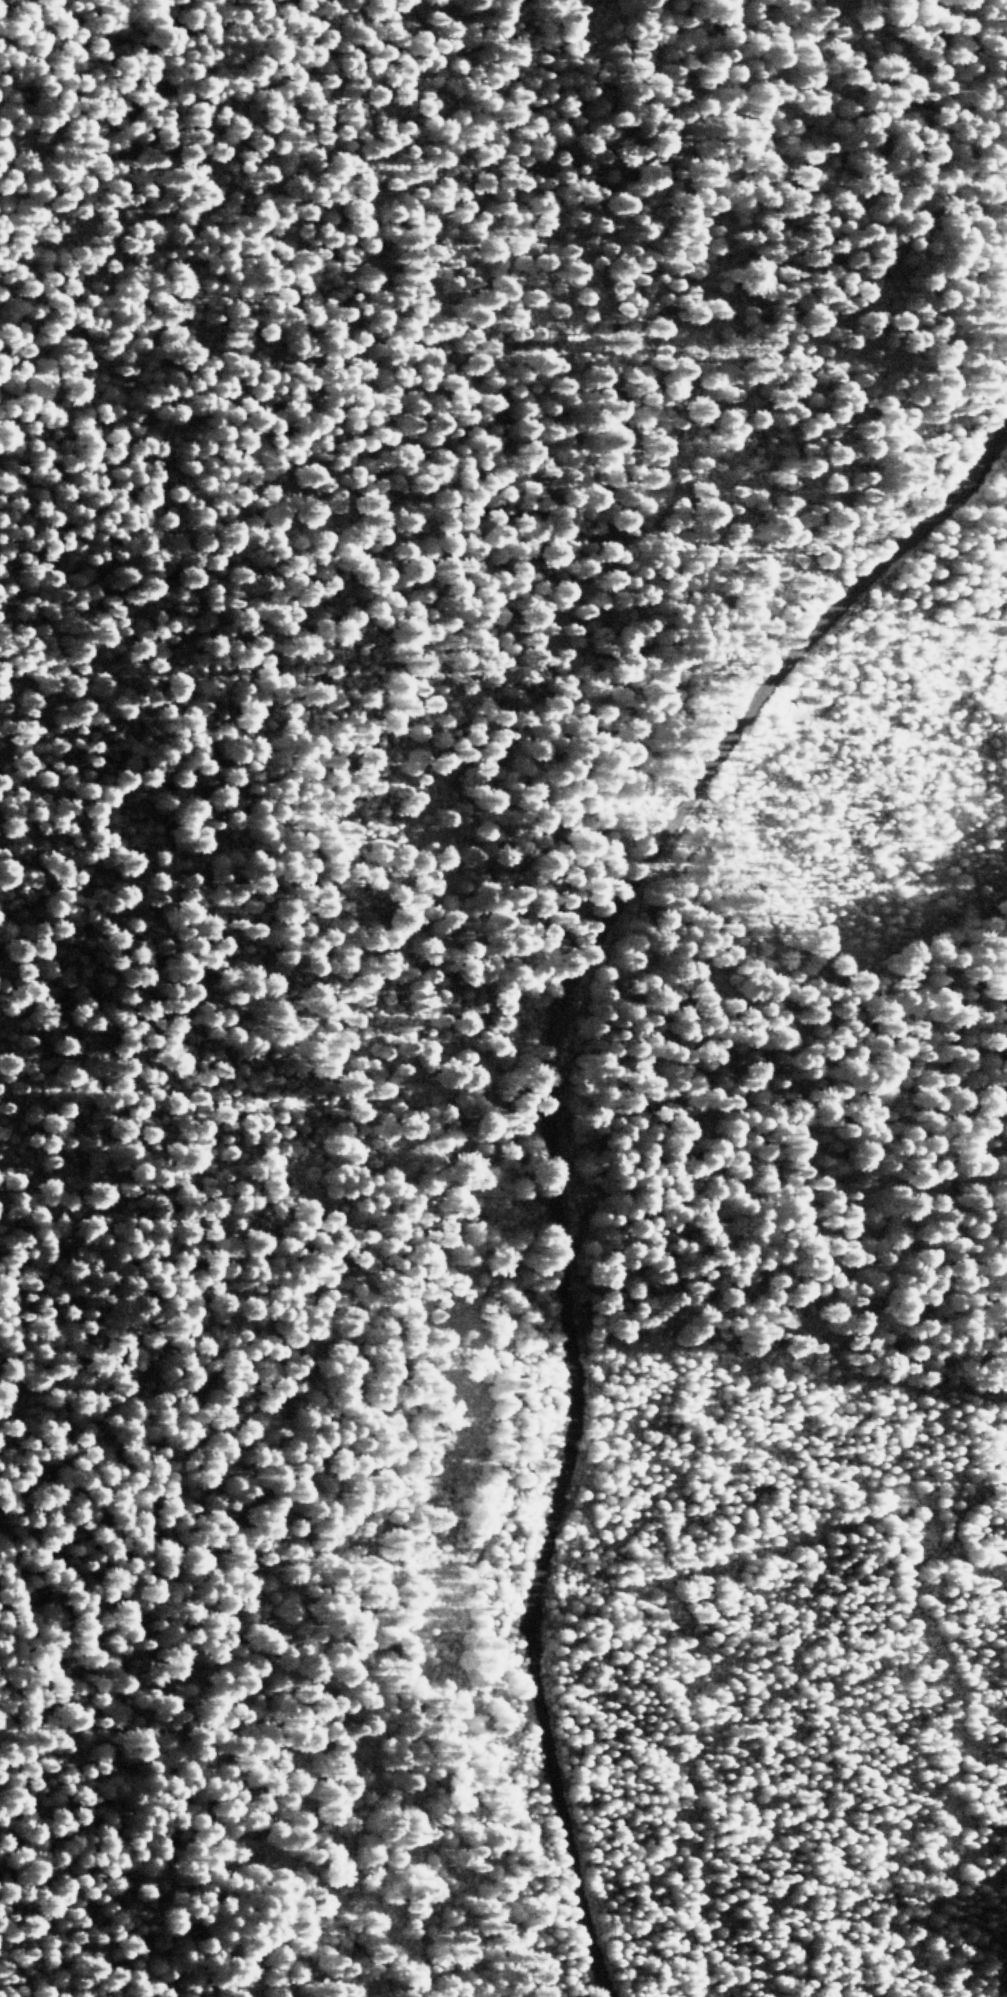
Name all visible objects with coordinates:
road: (547, 1129)

